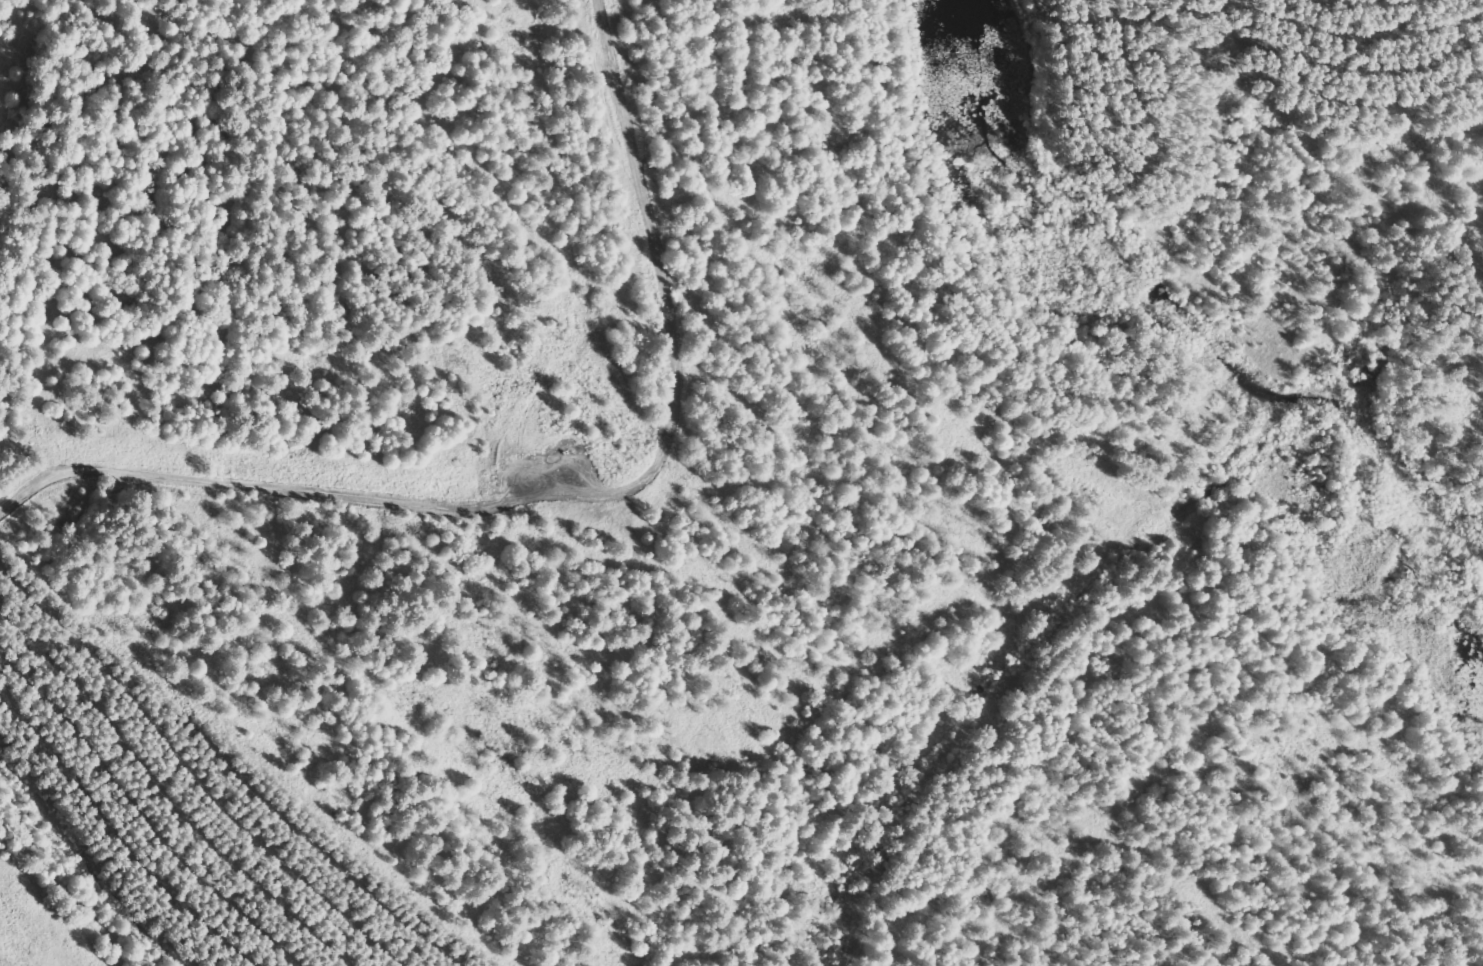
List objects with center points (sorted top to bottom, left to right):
road: (564, 497)

